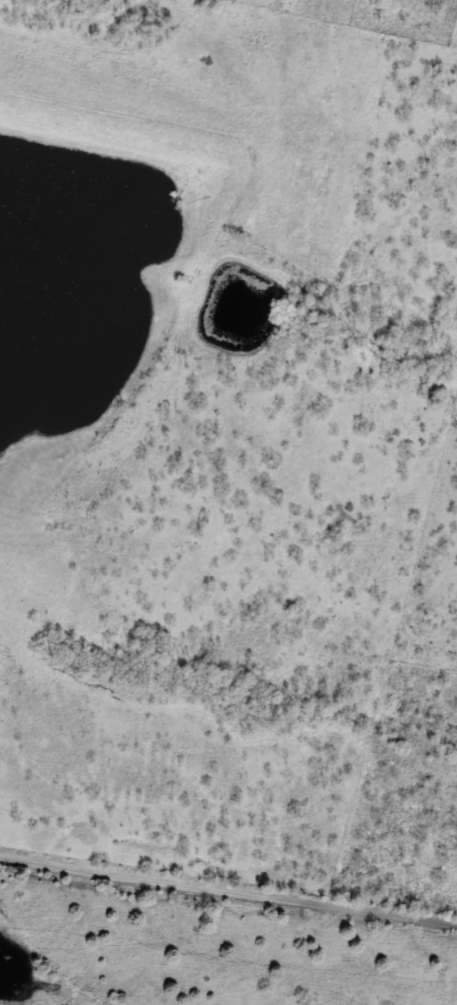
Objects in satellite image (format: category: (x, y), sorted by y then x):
road: (228, 891)

